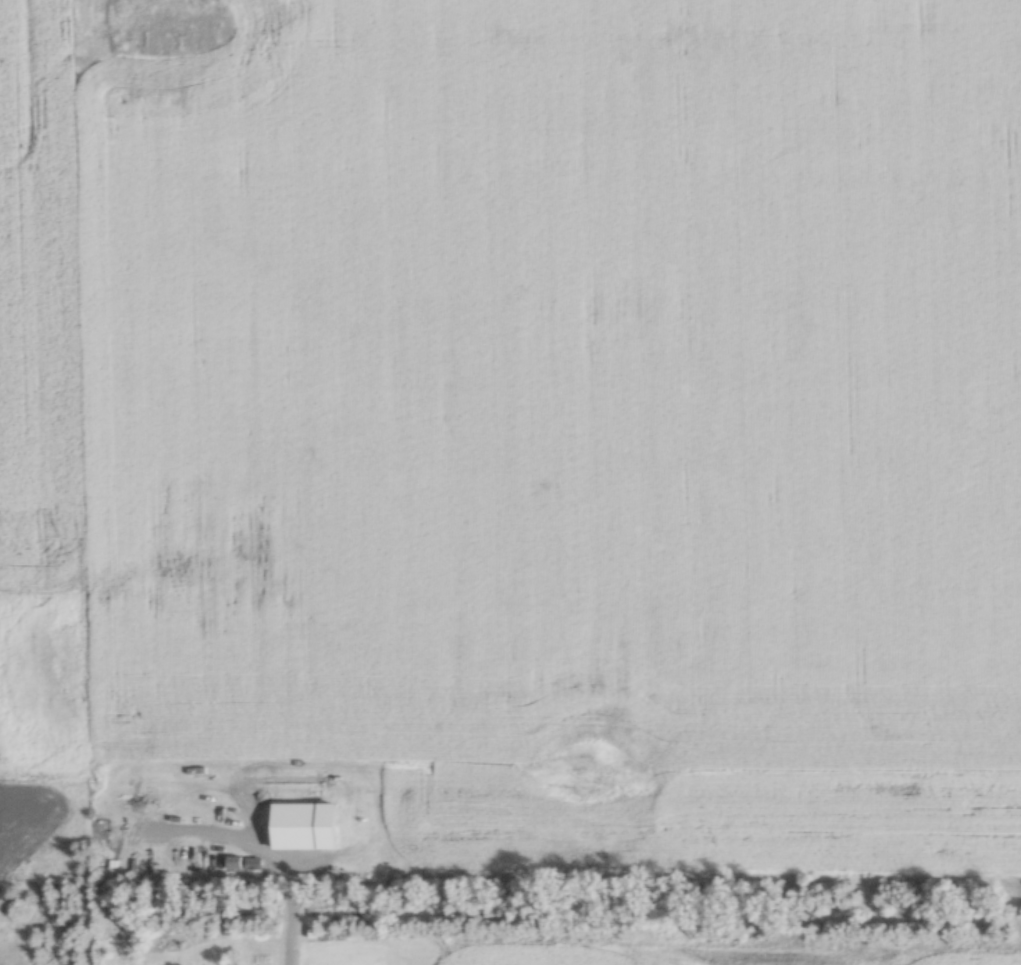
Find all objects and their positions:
building: (255, 862)

